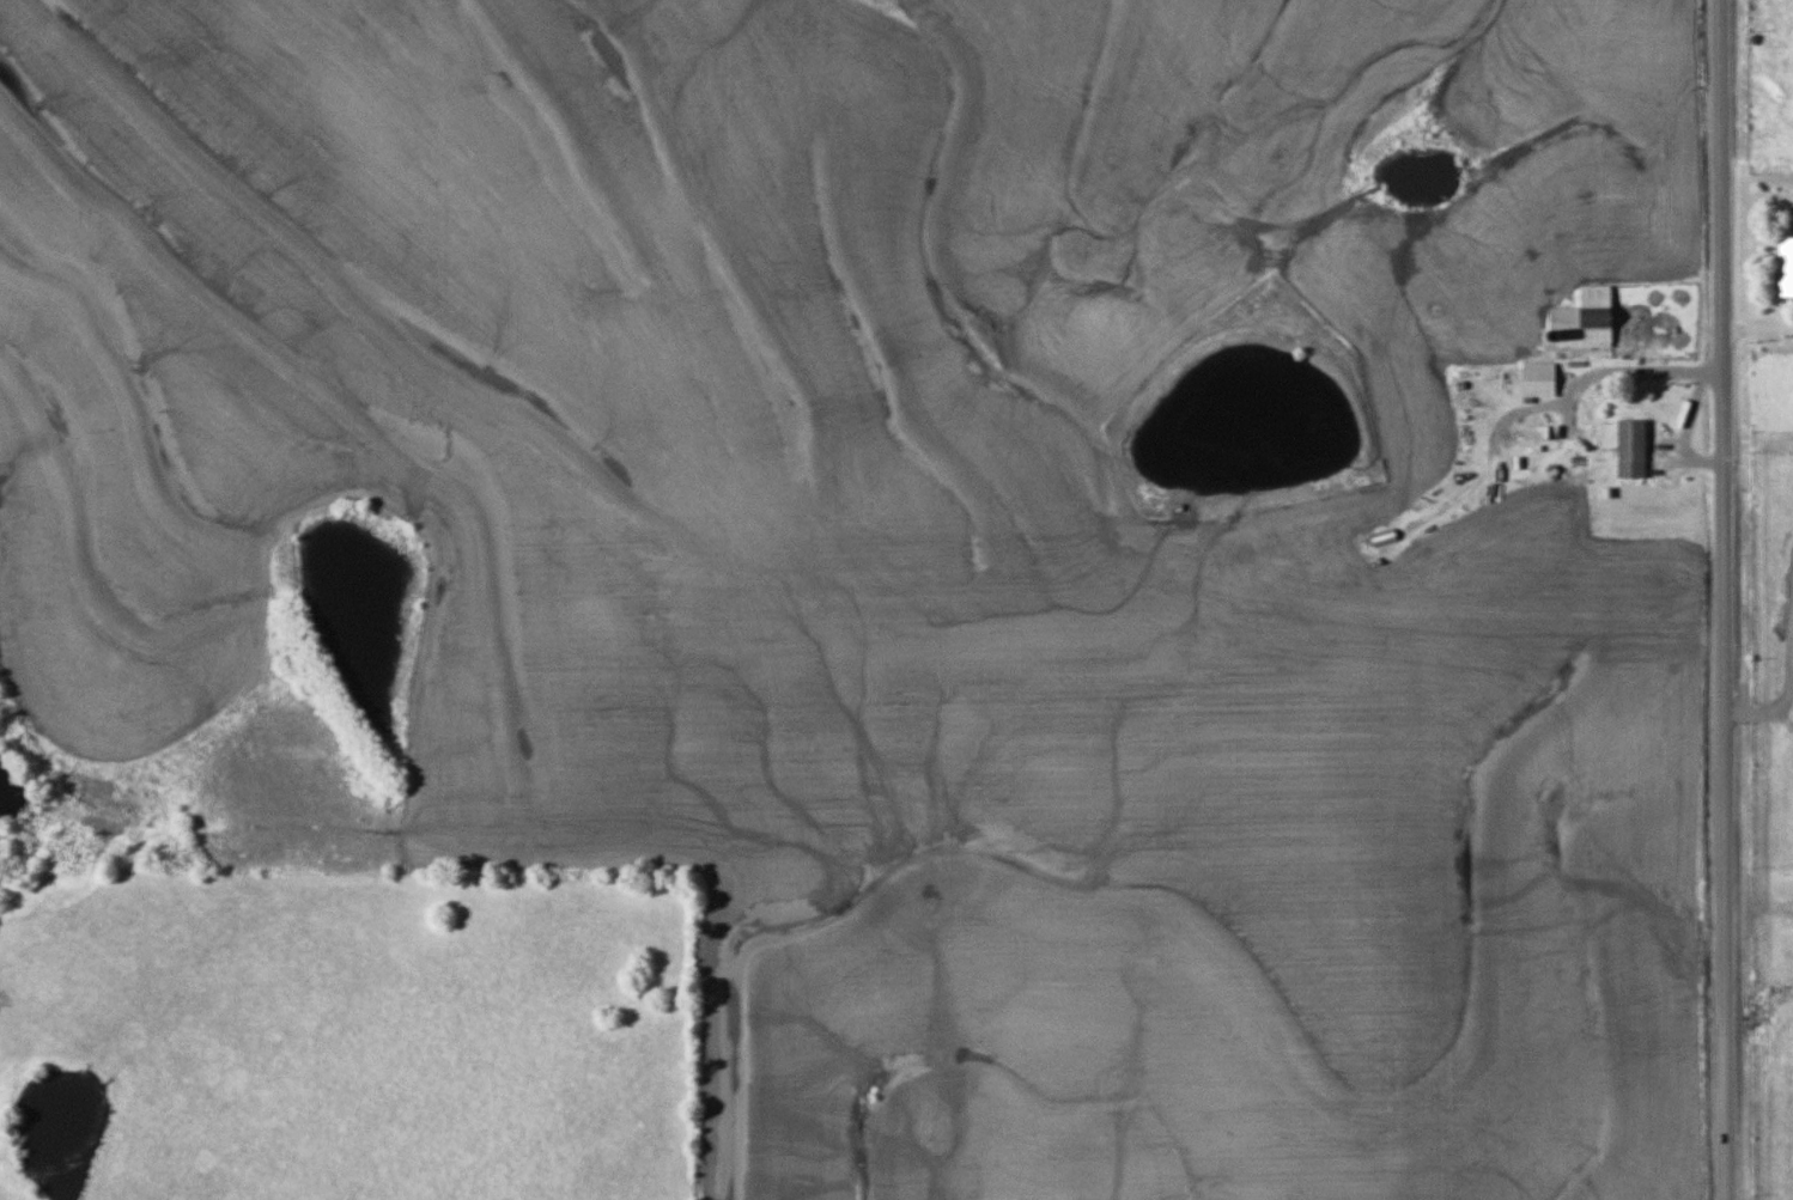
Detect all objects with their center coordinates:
building: (1785, 266)
building: (1582, 319)
road: (1755, 327)
building: (1537, 378)
road: (1598, 378)
building: (1534, 431)
building: (1630, 447)
building: (1381, 536)
road: (1720, 599)

